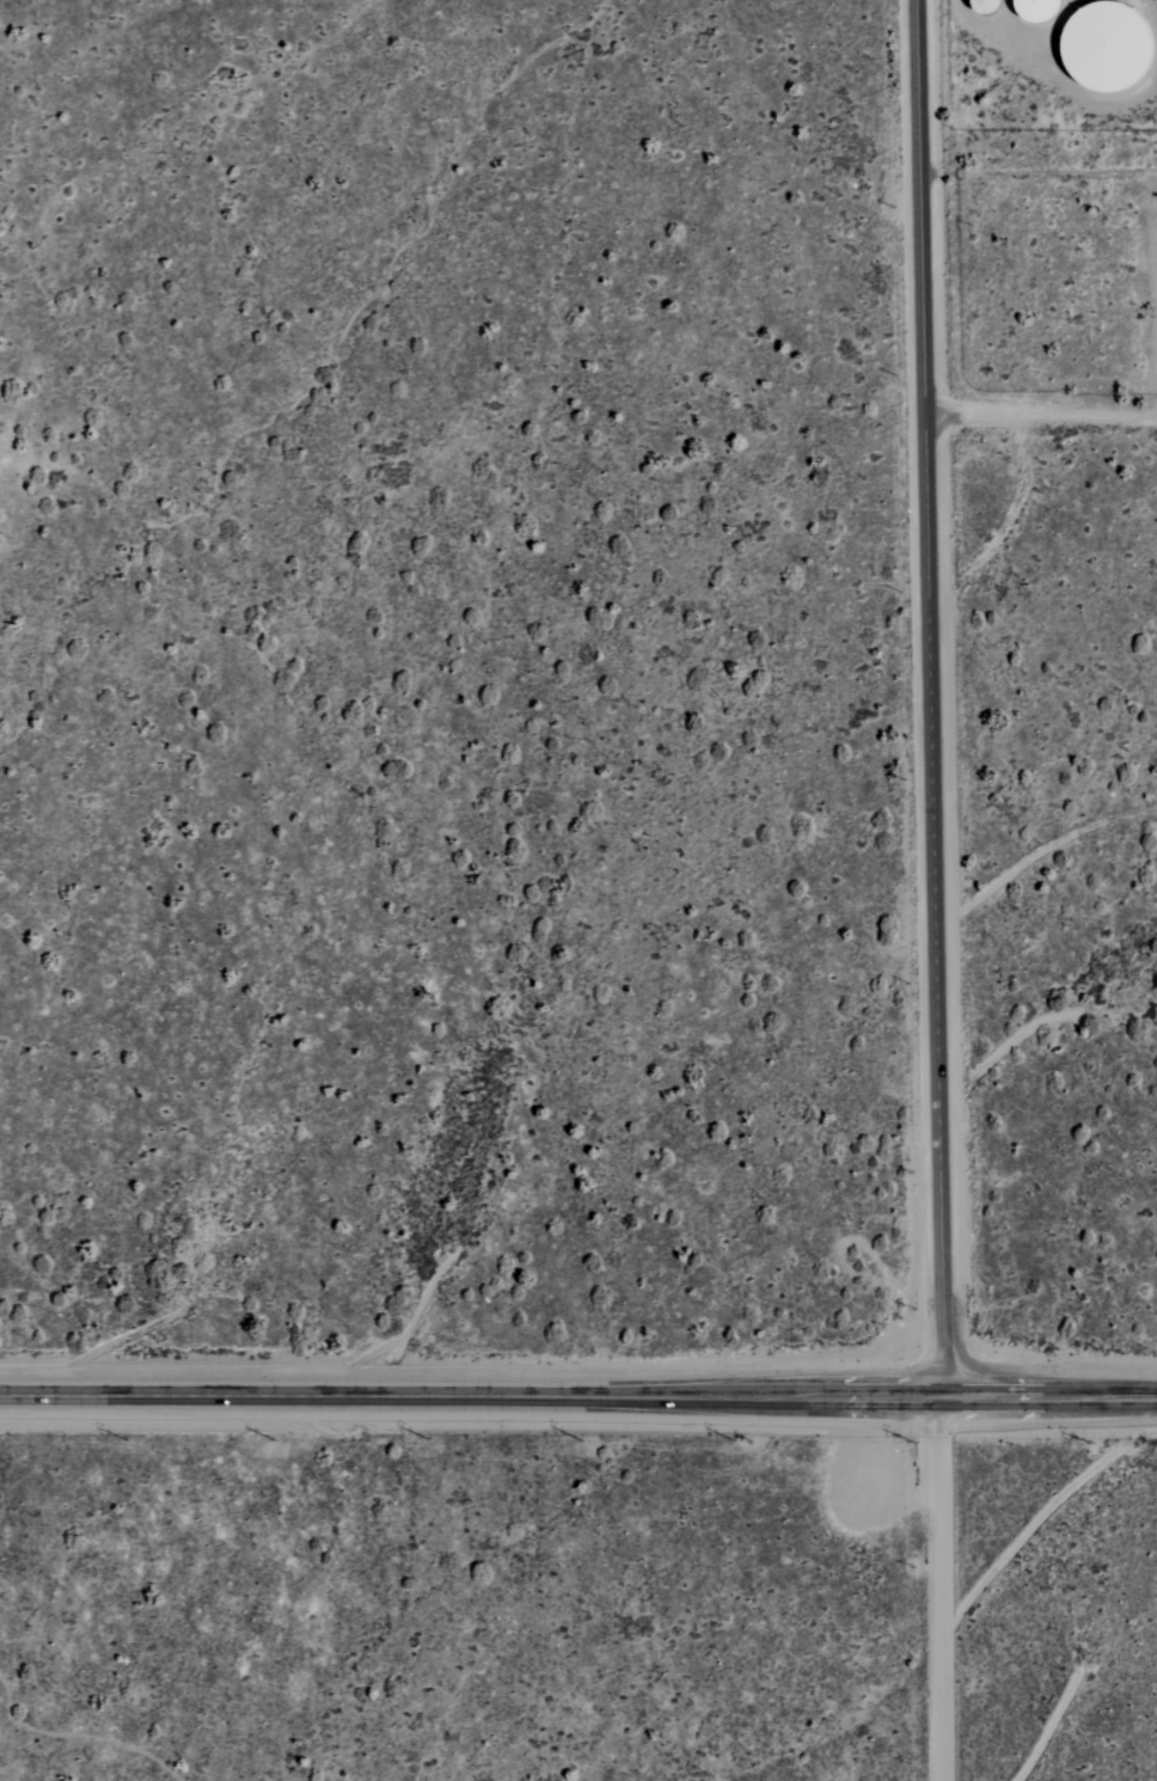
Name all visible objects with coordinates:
building: (1033, 11)
road: (1000, 24)
road: (943, 418)
road: (1059, 418)
road: (930, 698)
road: (578, 1396)
road: (944, 1418)
road: (941, 1610)

